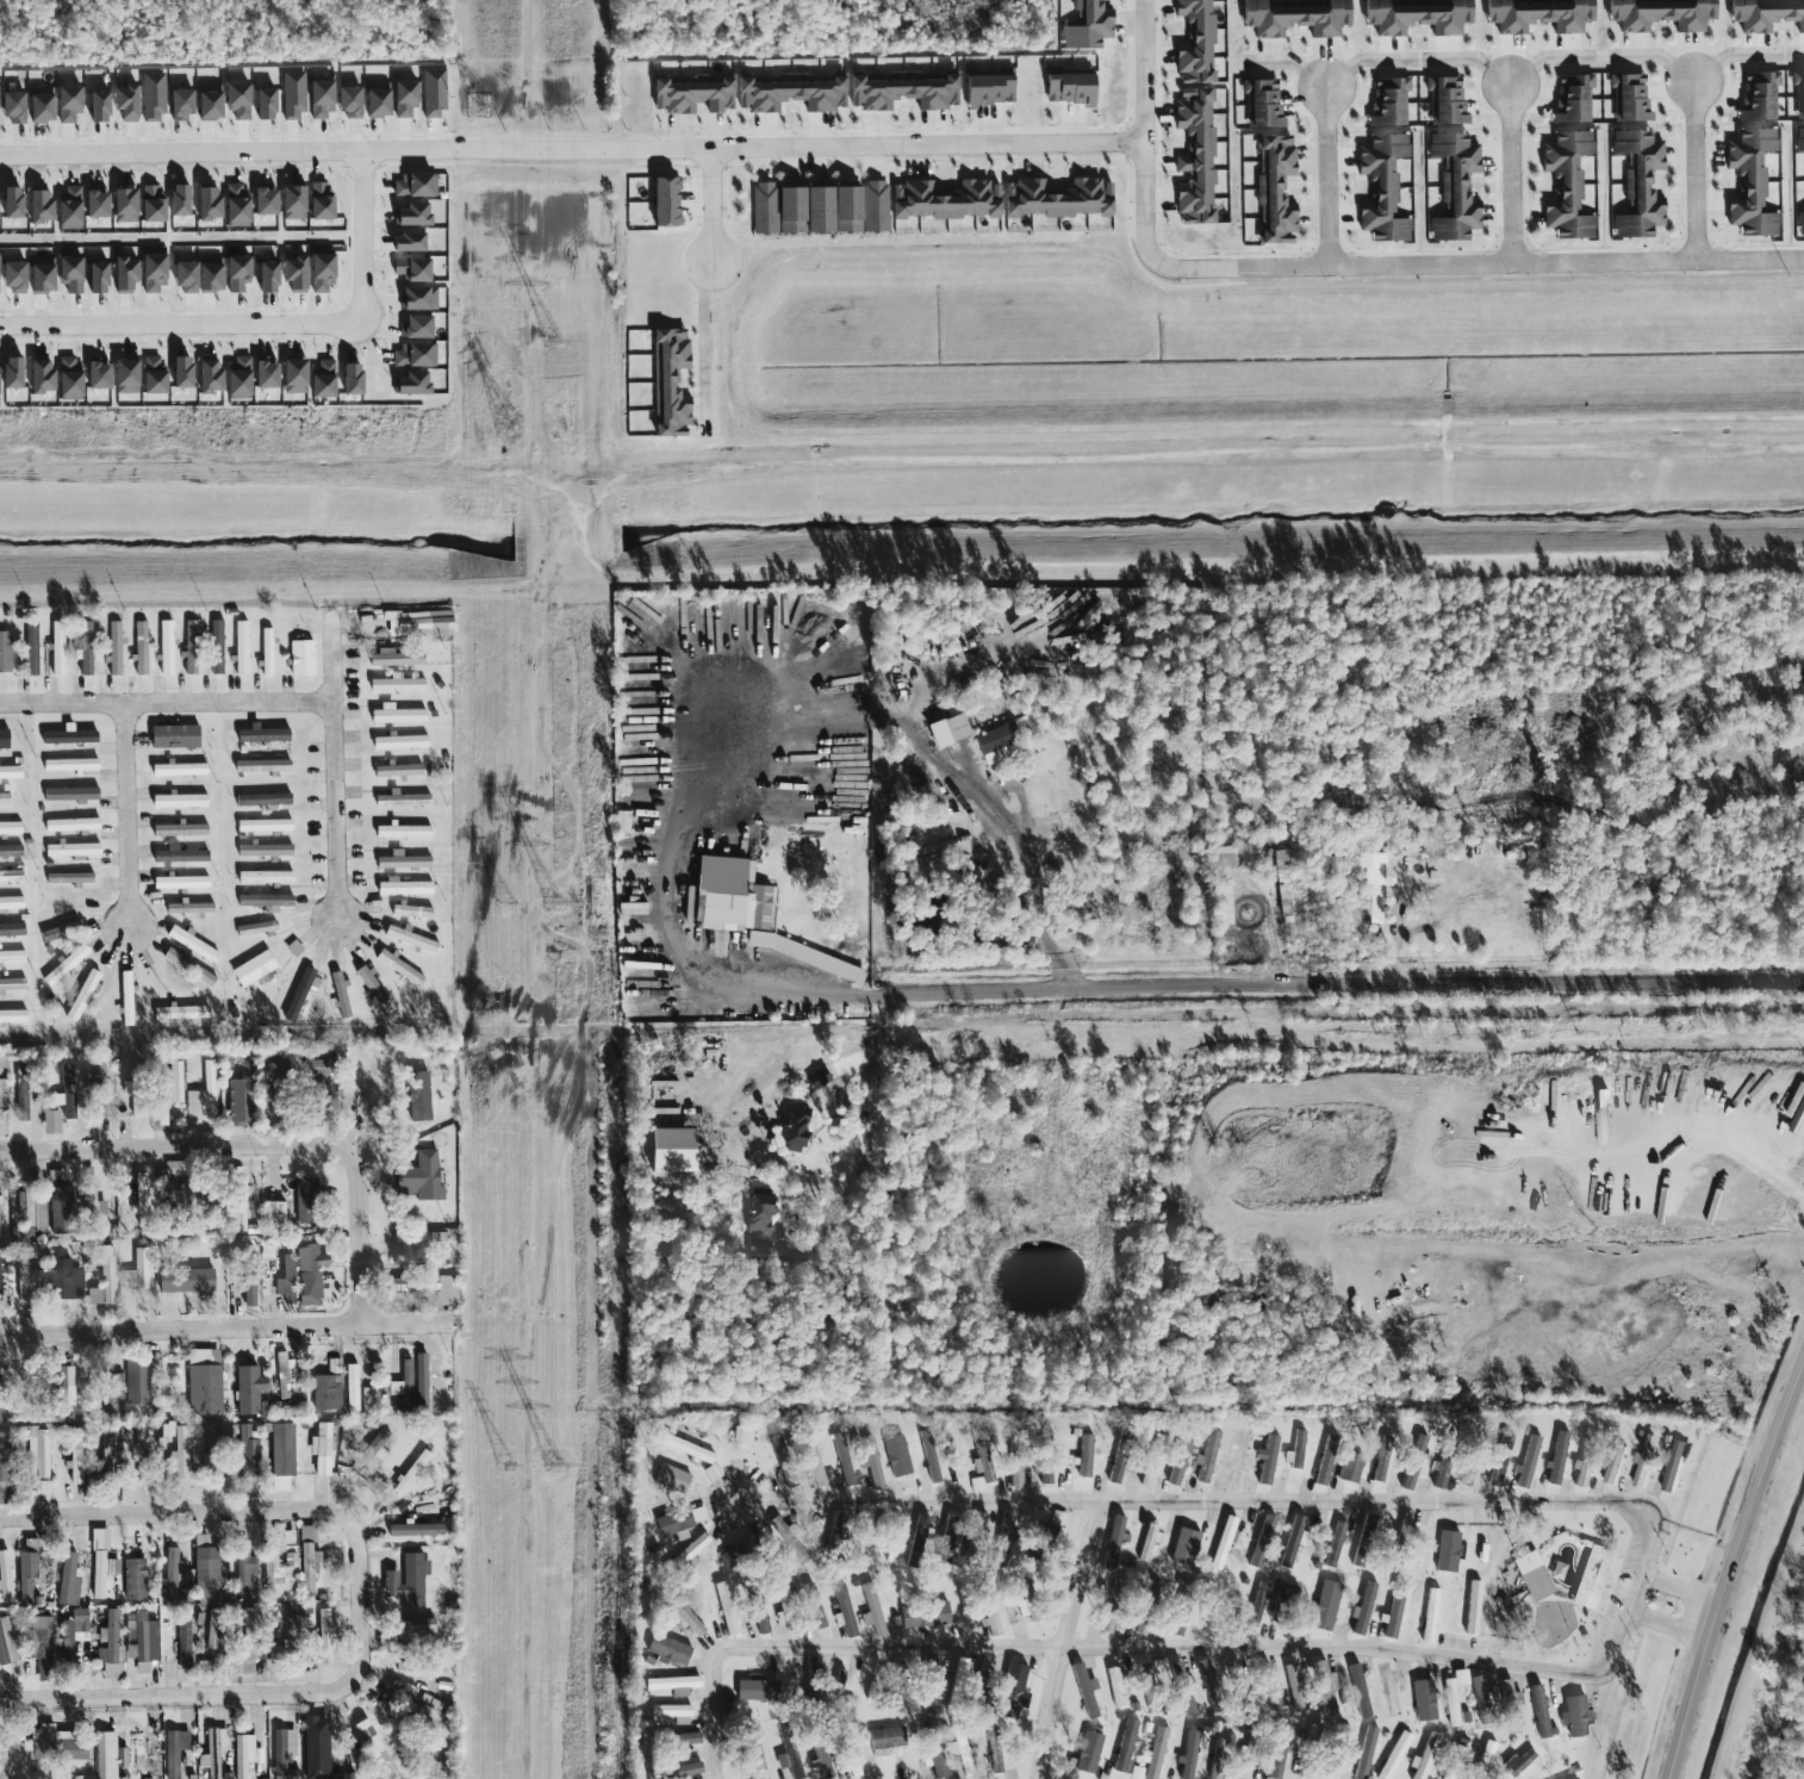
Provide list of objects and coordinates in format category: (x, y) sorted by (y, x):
building: (1660, 14)
building: (1765, 14)
building: (1537, 15)
building: (1416, 17)
building: (1294, 18)
building: (1085, 26)
building: (1194, 42)
road: (1743, 52)
road: (1600, 56)
road: (1417, 58)
road: (1290, 62)
building: (1068, 86)
building: (989, 89)
building: (902, 92)
building: (431, 93)
building: (790, 93)
building: (291, 94)
building: (1798, 94)
building: (153, 95)
building: (690, 95)
building: (319, 97)
building: (1629, 98)
building: (1758, 98)
building: (403, 99)
building: (1572, 99)
building: (237, 100)
building: (375, 100)
building: (1445, 100)
building: (123, 102)
building: (207, 102)
building: (347, 102)
building: (1387, 102)
building: (67, 104)
building: (262, 104)
building: (1261, 104)
building: (38, 105)
building: (179, 105)
building: (11, 107)
building: (95, 107)
road: (1142, 133)
building: (1799, 141)
road: (570, 144)
building: (1195, 158)
road: (1696, 170)
road: (1512, 173)
road: (1325, 175)
building: (1750, 184)
building: (1637, 185)
building: (413, 186)
building: (1566, 186)
building: (1454, 187)
building: (1381, 188)
building: (1274, 191)
building: (1056, 199)
building: (176, 201)
building: (944, 201)
building: (262, 203)
building: (291, 203)
building: (317, 203)
building: (664, 203)
building: (8, 204)
road: (715, 204)
building: (93, 205)
building: (150, 205)
building: (123, 206)
building: (205, 206)
building: (235, 206)
building: (36, 207)
building: (873, 207)
building: (67, 209)
building: (763, 209)
building: (803, 211)
building: (845, 211)
building: (411, 216)
building: (1799, 224)
road: (363, 230)
building: (405, 243)
road: (1481, 260)
building: (410, 270)
building: (151, 273)
building: (235, 273)
building: (321, 273)
building: (122, 274)
building: (207, 274)
building: (39, 275)
building: (69, 275)
building: (293, 275)
building: (265, 276)
building: (11, 278)
building: (94, 278)
building: (182, 278)
building: (417, 299)
road: (1754, 311)
road: (176, 321)
building: (415, 328)
road: (703, 342)
power tower: (559, 344)
building: (412, 356)
building: (179, 373)
building: (263, 373)
building: (8, 374)
building: (95, 375)
building: (150, 375)
building: (292, 377)
building: (123, 378)
building: (206, 378)
building: (38, 379)
building: (237, 379)
building: (68, 380)
building: (321, 380)
building: (349, 380)
building: (668, 382)
building: (410, 385)
power tower: (506, 422)
river: (902, 517)
building: (416, 624)
building: (189, 647)
building: (214, 647)
building: (240, 647)
building: (56, 648)
building: (85, 648)
building: (164, 648)
building: (29, 649)
building: (113, 649)
building: (139, 649)
building: (266, 651)
building: (4, 652)
building: (300, 658)
building: (394, 659)
building: (396, 684)
road: (164, 704)
building: (396, 715)
building: (946, 729)
building: (260, 734)
building: (173, 736)
building: (67, 738)
building: (996, 738)
building: (2, 739)
building: (399, 741)
building: (68, 765)
building: (260, 766)
road: (331, 769)
building: (178, 770)
building: (397, 770)
building: (10, 772)
building: (69, 794)
building: (4, 800)
building: (261, 800)
building: (402, 800)
building: (178, 801)
road: (126, 816)
building: (621, 821)
building: (70, 825)
building: (262, 826)
building: (10, 828)
building: (179, 829)
building: (402, 831)
road: (1033, 838)
building: (71, 850)
building: (263, 850)
building: (10, 851)
building: (178, 854)
building: (1231, 856)
building: (402, 861)
building: (1370, 867)
building: (11, 877)
building: (263, 877)
building: (68, 878)
building: (179, 882)
building: (1280, 885)
building: (402, 888)
building: (728, 895)
building: (263, 901)
building: (11, 902)
building: (1220, 902)
building: (1369, 903)
power tower: (505, 904)
power tower: (555, 904)
building: (63, 907)
building: (188, 908)
building: (771, 909)
building: (410, 910)
building: (255, 928)
building: (10, 929)
building: (52, 933)
building: (410, 939)
building: (191, 944)
building: (292, 948)
building: (12, 957)
building: (63, 965)
building: (186, 965)
building: (397, 968)
building: (251, 970)
road: (1139, 982)
building: (12, 984)
building: (368, 984)
building: (299, 993)
building: (81, 995)
building: (340, 995)
building: (125, 999)
building: (180, 1012)
building: (12, 1016)
building: (310, 1070)
building: (816, 1078)
building: (98, 1090)
building: (201, 1093)
building: (20, 1094)
building: (166, 1094)
building: (360, 1096)
building: (54, 1099)
building: (238, 1101)
building: (413, 1102)
building: (1601, 1116)
road: (1762, 1118)
building: (50, 1122)
road: (865, 1127)
building: (792, 1130)
road: (1702, 1130)
road: (262, 1144)
building: (668, 1150)
building: (167, 1171)
building: (418, 1177)
building: (54, 1178)
building: (138, 1195)
building: (303, 1200)
building: (0, 1201)
building: (92, 1206)
building: (241, 1207)
building: (60, 1211)
building: (272, 1212)
building: (29, 1214)
building: (757, 1214)
building: (417, 1238)
building: (757, 1248)
building: (136, 1271)
building: (309, 1274)
building: (62, 1276)
building: (102, 1280)
building: (183, 1280)
building: (285, 1280)
building: (418, 1286)
road: (228, 1325)
building: (332, 1366)
building: (282, 1375)
building: (418, 1380)
building: (135, 1381)
building: (203, 1382)
building: (402, 1383)
building: (350, 1388)
building: (247, 1389)
building: (62, 1393)
building: (112, 1393)
building: (325, 1393)
building: (367, 1400)
building: (164, 1429)
building: (738, 1436)
building: (139, 1441)
building: (324, 1447)
building: (778, 1448)
building: (281, 1449)
building: (686, 1449)
building: (1296, 1449)
building: (245, 1451)
building: (178, 1455)
building: (865, 1456)
building: (929, 1456)
building: (1084, 1456)
building: (1, 1457)
building: (368, 1457)
building: (1238, 1457)
building: (841, 1458)
building: (1381, 1460)
building: (1499, 1460)
building: (1556, 1460)
building: (900, 1461)
building: (1178, 1461)
building: (1201, 1461)
building: (1267, 1461)
building: (1324, 1461)
building: (73, 1462)
building: (811, 1462)
building: (982, 1462)
building: (1526, 1463)
power tower: (505, 1464)
building: (1613, 1464)
building: (36, 1466)
building: (1015, 1466)
building: (1116, 1466)
building: (1672, 1466)
power tower: (556, 1468)
building: (1349, 1468)
building: (1149, 1469)
building: (1641, 1469)
building: (1580, 1472)
building: (1045, 1474)
building: (1439, 1475)
building: (1463, 1478)
building: (670, 1479)
building: (280, 1485)
building: (976, 1485)
road: (217, 1511)
building: (677, 1522)
building: (1052, 1524)
building: (919, 1528)
building: (413, 1530)
building: (835, 1531)
building: (1404, 1532)
building: (947, 1534)
building: (975, 1535)
building: (1368, 1537)
building: (1002, 1538)
building: (786, 1541)
building: (1259, 1541)
building: (1293, 1541)
building: (1147, 1543)
building: (1221, 1543)
building: (1112, 1544)
building: (1333, 1544)
building: (866, 1545)
building: (1183, 1547)
building: (691, 1549)
building: (1445, 1551)
building: (278, 1561)
building: (306, 1561)
building: (99, 1563)
road: (1731, 1568)
building: (25, 1572)
building: (242, 1572)
building: (172, 1574)
building: (4, 1576)
building: (1532, 1576)
building: (1591, 1578)
building: (132, 1579)
building: (67, 1580)
building: (405, 1581)
road: (1684, 1587)
building: (1284, 1593)
building: (1151, 1594)
building: (1217, 1595)
building: (1024, 1597)
building: (721, 1599)
building: (1257, 1604)
building: (1325, 1605)
building: (811, 1606)
building: (1109, 1607)
building: (842, 1609)
building: (1362, 1609)
building: (989, 1610)
building: (871, 1611)
building: (923, 1615)
building: (1392, 1616)
building: (1429, 1616)
building: (686, 1619)
building: (412, 1626)
building: (1139, 1628)
building: (290, 1629)
building: (1176, 1629)
road: (1669, 1630)
building: (73, 1631)
building: (322, 1637)
road: (1621, 1637)
building: (182, 1640)
building: (5, 1641)
building: (139, 1641)
building: (247, 1641)
road: (1065, 1642)
building: (37, 1644)
building: (108, 1648)
building: (667, 1652)
building: (960, 1667)
building: (983, 1673)
building: (1144, 1678)
building: (1206, 1678)
building: (836, 1684)
building: (672, 1685)
building: (1114, 1687)
building: (1294, 1687)
building: (1325, 1687)
building: (1181, 1688)
building: (1358, 1690)
building: (1387, 1690)
building: (1083, 1691)
building: (1420, 1691)
building: (1009, 1692)
building: (1481, 1692)
building: (1508, 1694)
road: (217, 1697)
building: (927, 1703)
building: (1451, 1703)
building: (1538, 1711)
building: (671, 1713)
building: (1574, 1716)
building: (1313, 1735)
building: (884, 1741)
building: (55, 1746)
building: (786, 1746)
building: (1124, 1746)
building: (313, 1748)
building: (372, 1748)
building: (1217, 1749)
building: (173, 1752)
building: (212, 1752)
building: (1188, 1752)
building: (282, 1753)
building: (1087, 1753)
building: (1156, 1753)
building: (1364, 1753)
building: (242, 1754)
building: (104, 1755)
building: (1393, 1755)
building: (1486, 1755)
building: (754, 1756)
building: (963, 1756)
building: (2, 1758)
building: (995, 1758)
building: (1276, 1758)
building: (1424, 1758)
building: (122, 1760)
building: (1454, 1760)
building: (820, 1761)
building: (935, 1761)
building: (1517, 1764)
building: (685, 1771)

